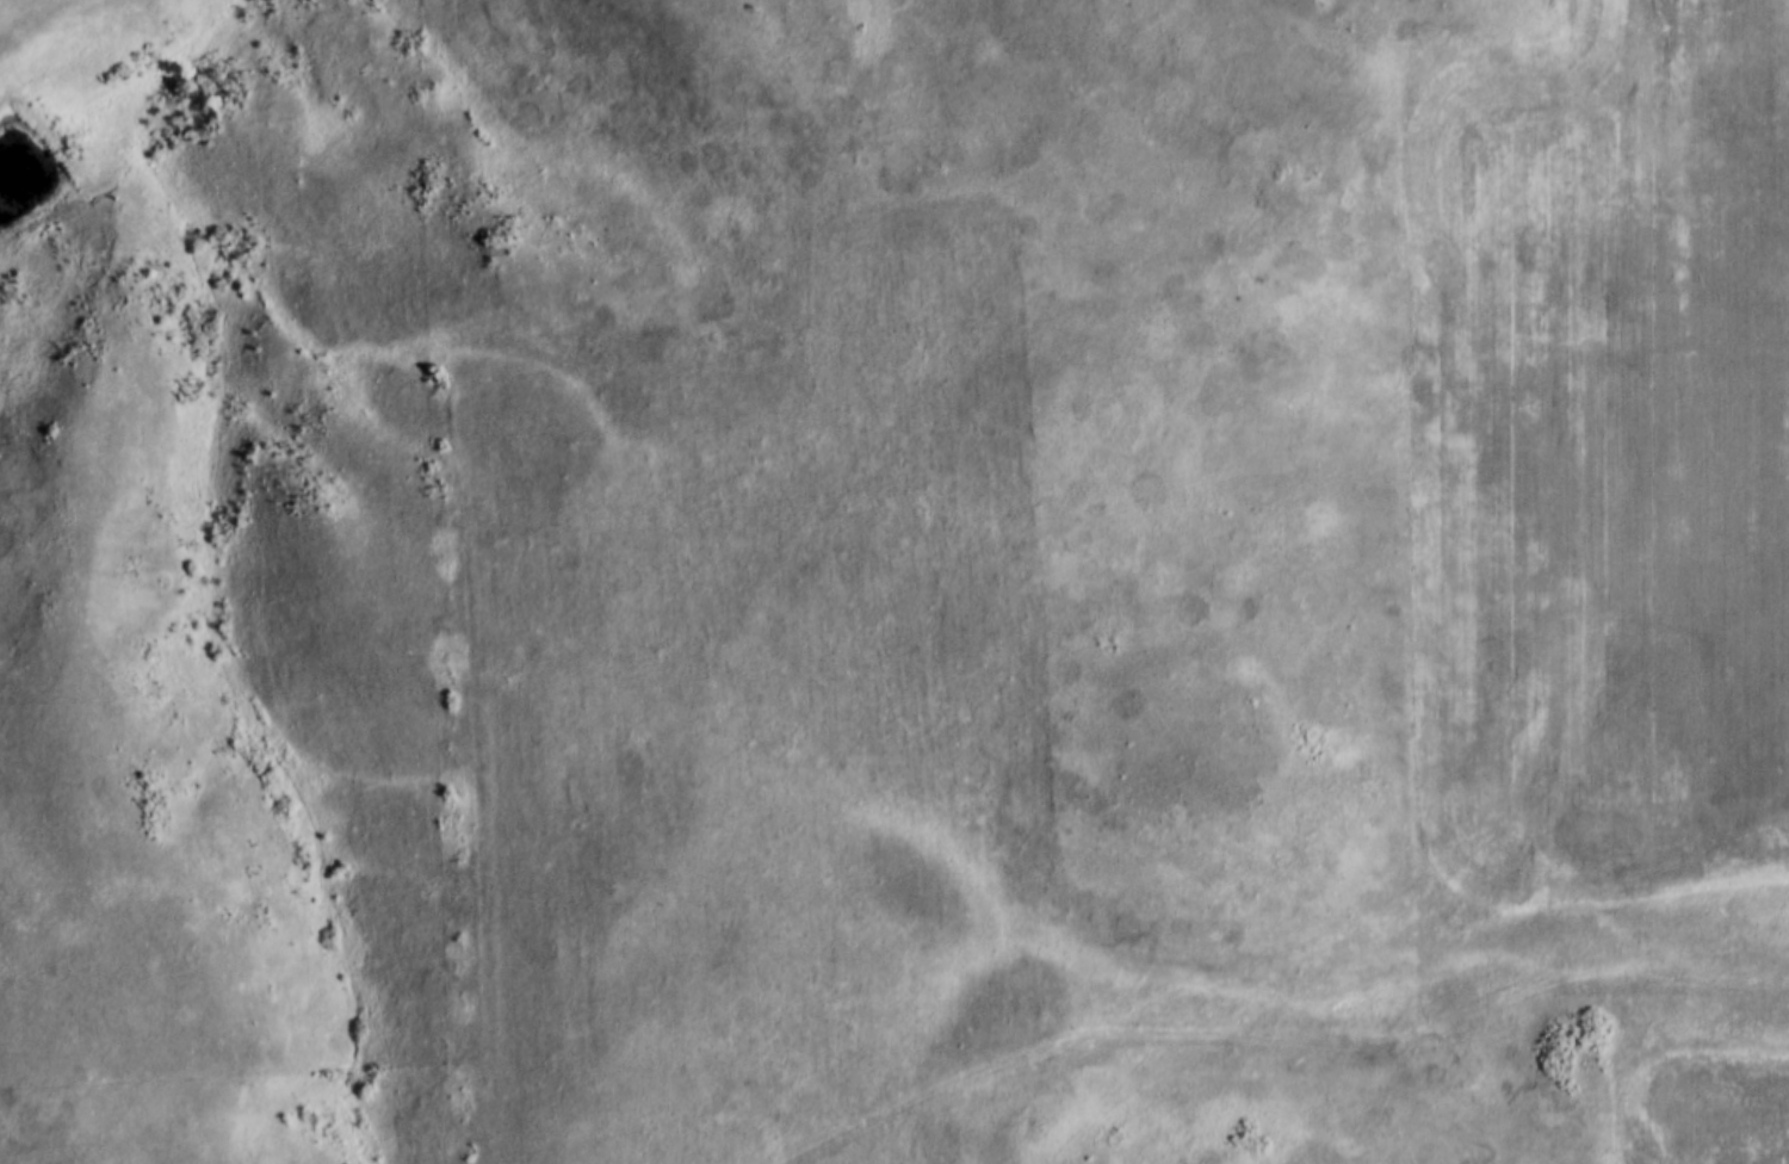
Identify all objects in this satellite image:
road: (1275, 966)

